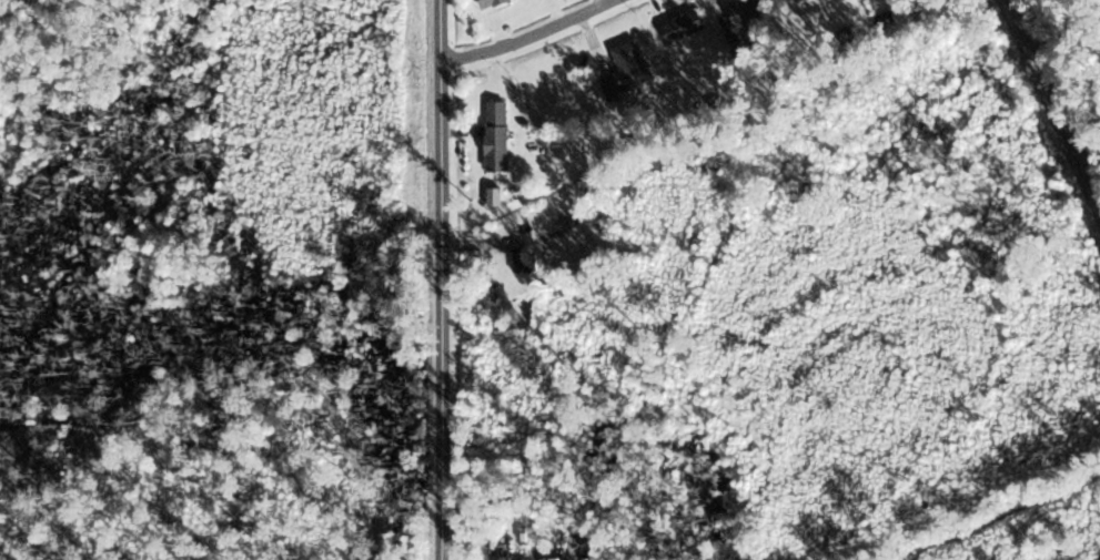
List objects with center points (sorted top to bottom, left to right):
building: (488, 3)
building: (744, 12)
building: (683, 27)
road: (525, 33)
building: (627, 71)
railway: (1054, 101)
building: (496, 135)
building: (523, 257)
road: (443, 279)

